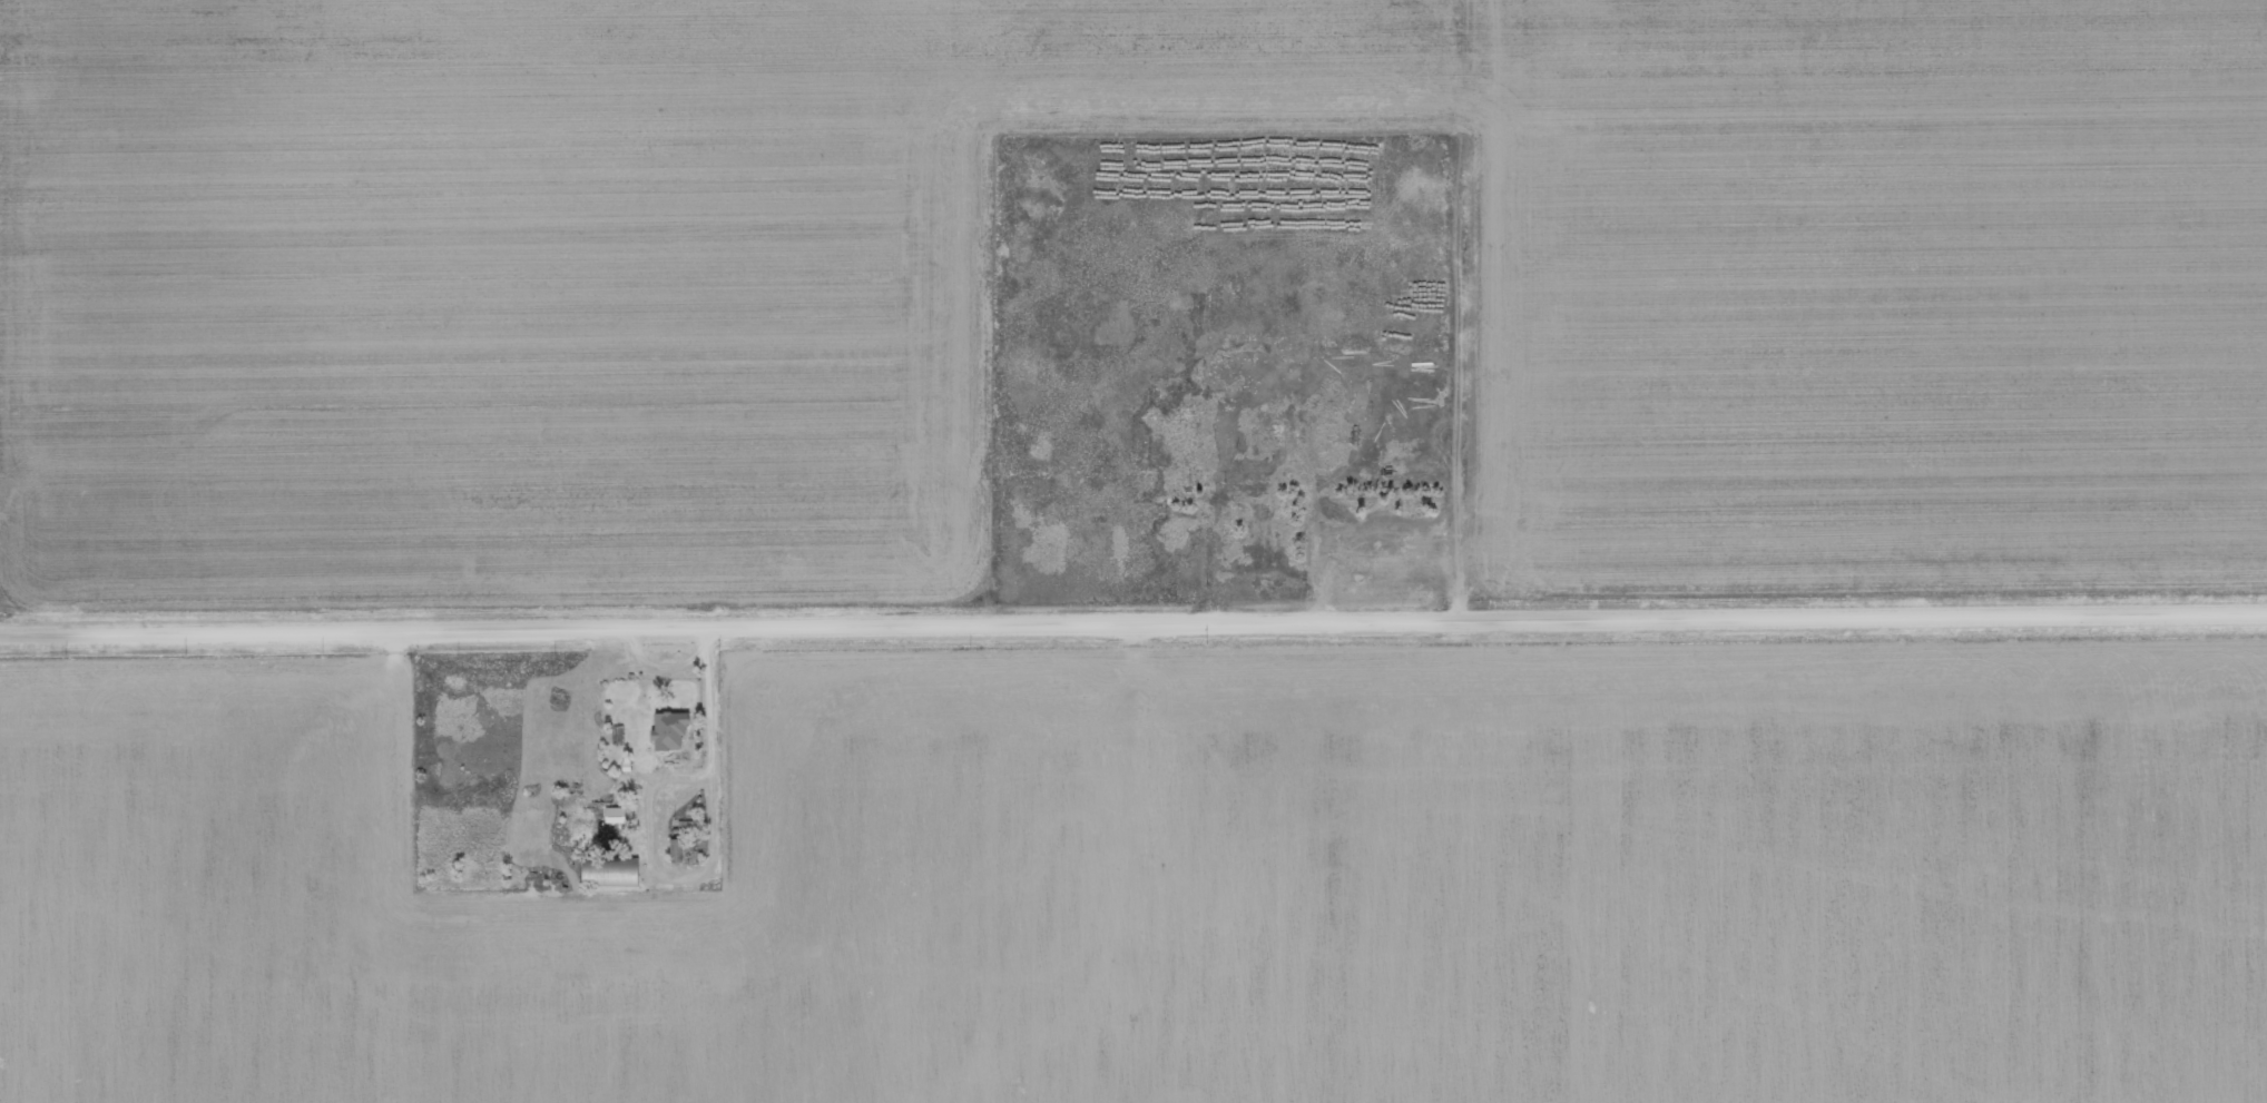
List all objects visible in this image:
road: (1133, 621)
road: (952, 797)

